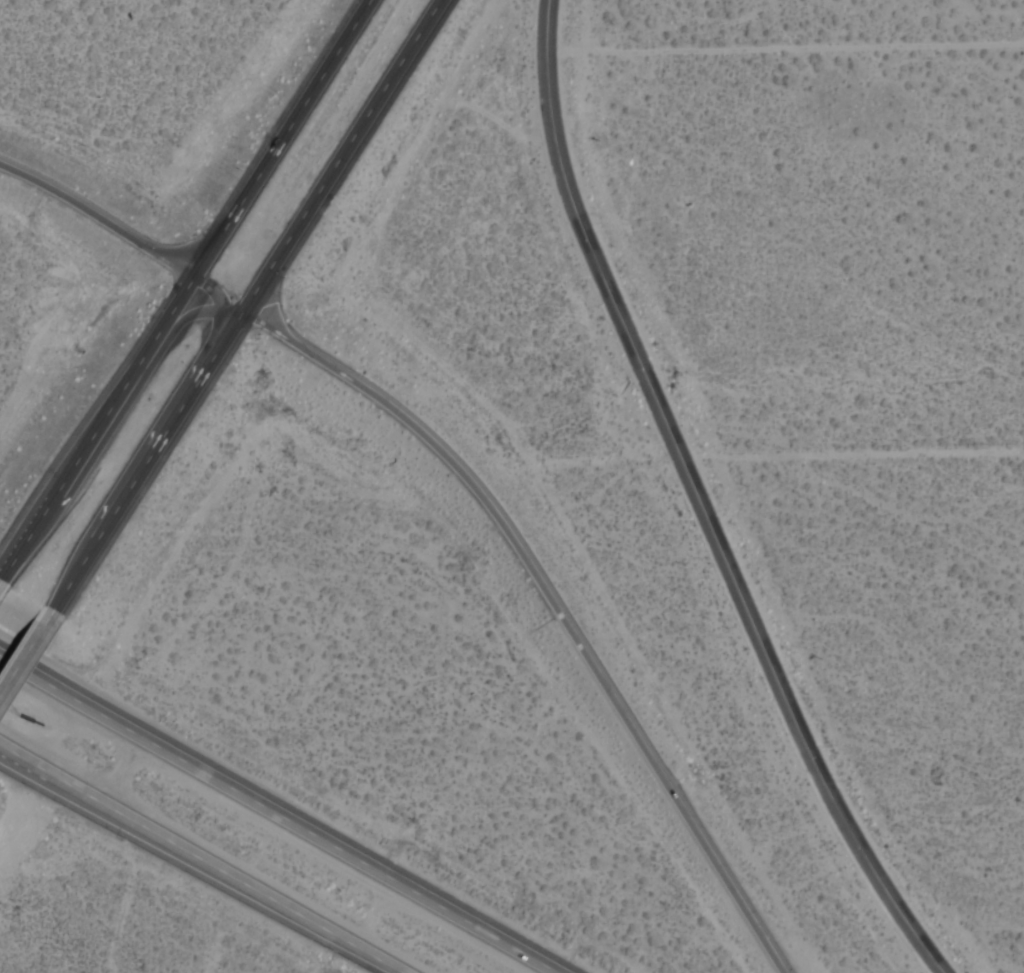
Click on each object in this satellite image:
road: (275, 138)
road: (339, 154)
road: (95, 218)
road: (202, 288)
road: (227, 307)
crop: (861, 360)
road: (104, 414)
road: (113, 424)
road: (141, 445)
road: (142, 458)
road: (700, 502)
road: (7, 560)
road: (549, 606)
road: (24, 647)
road: (285, 812)
road: (208, 854)
road: (200, 855)

